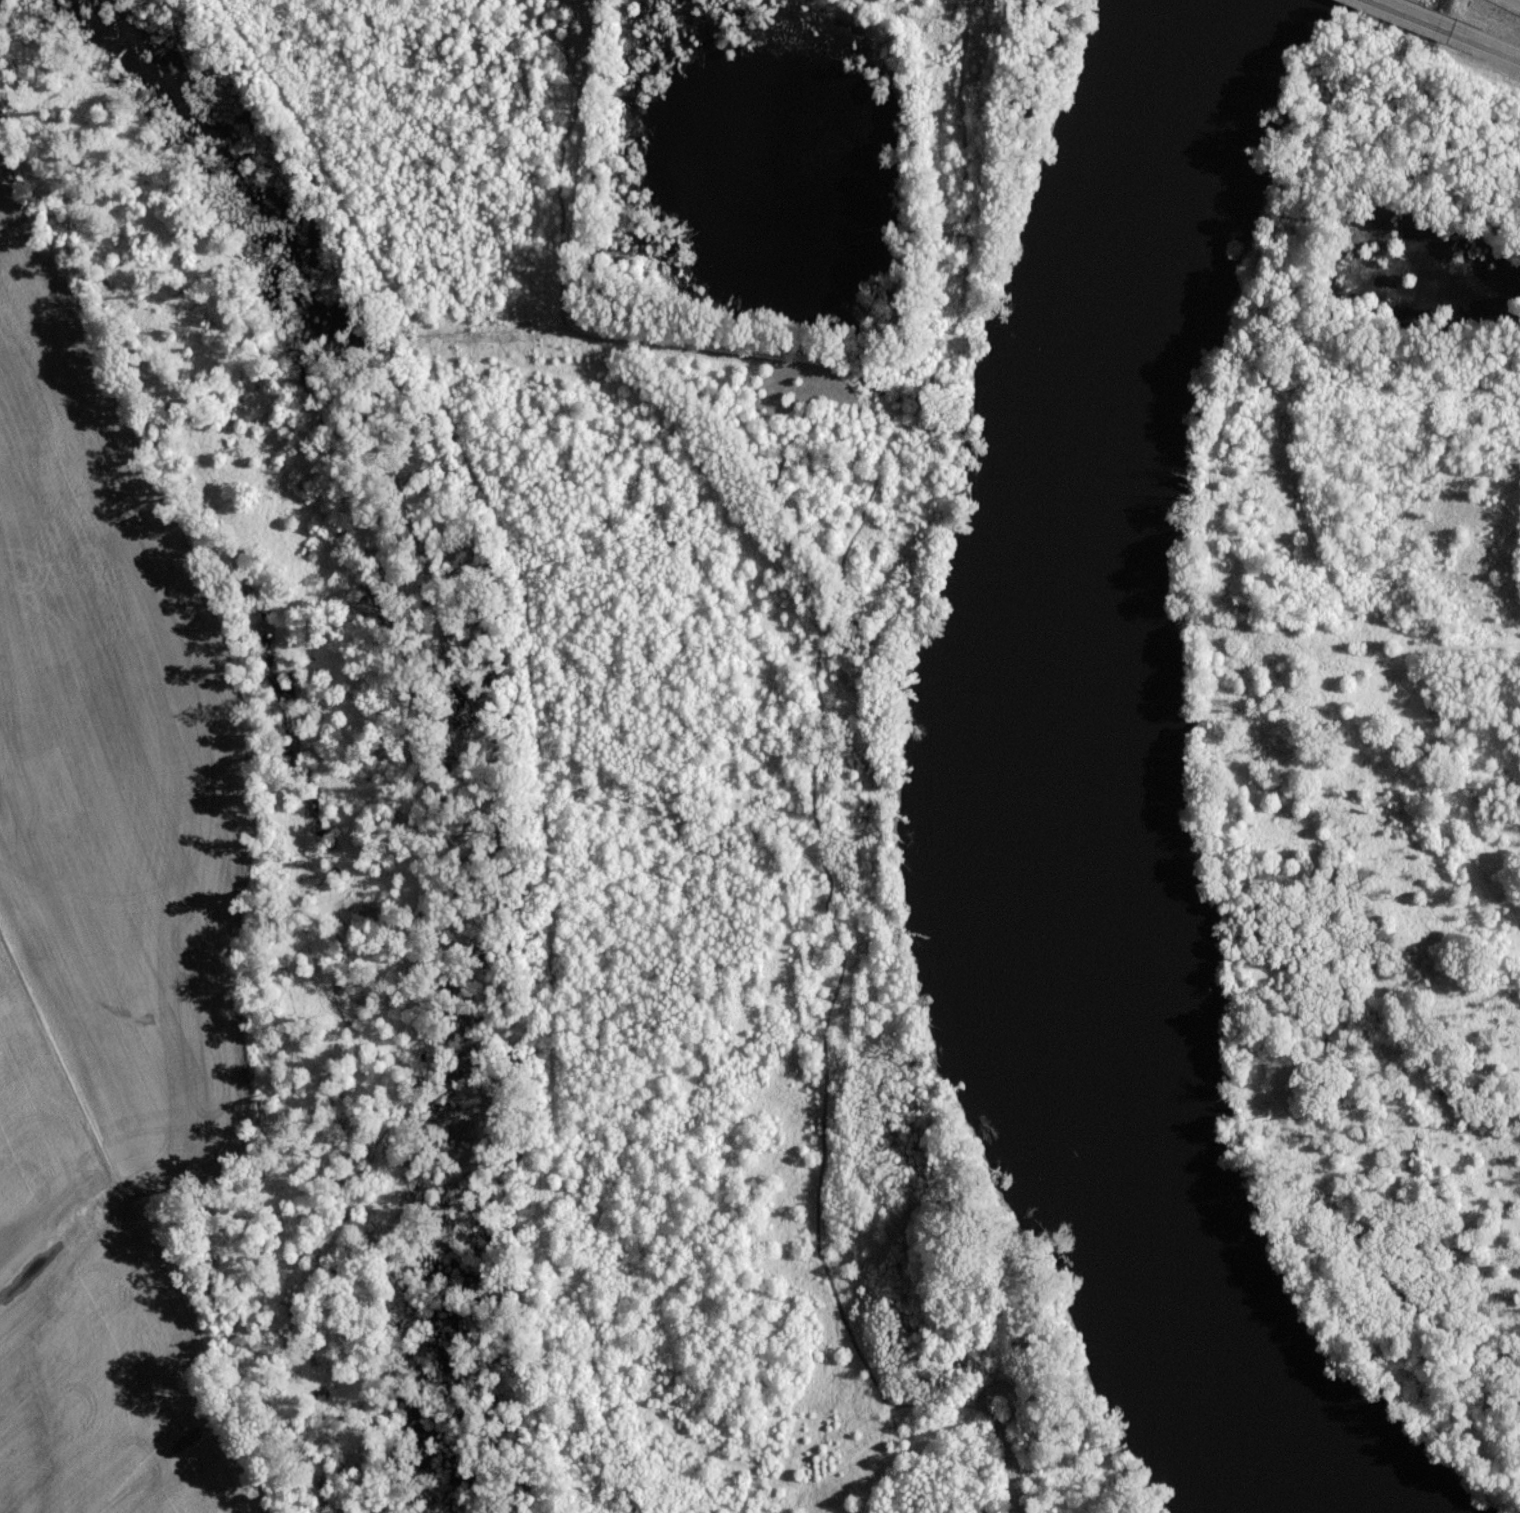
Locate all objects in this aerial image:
road: (1514, 2)
road: (1398, 16)
road: (1479, 48)
road: (1431, 651)
river: (1092, 778)
road: (84, 1119)

